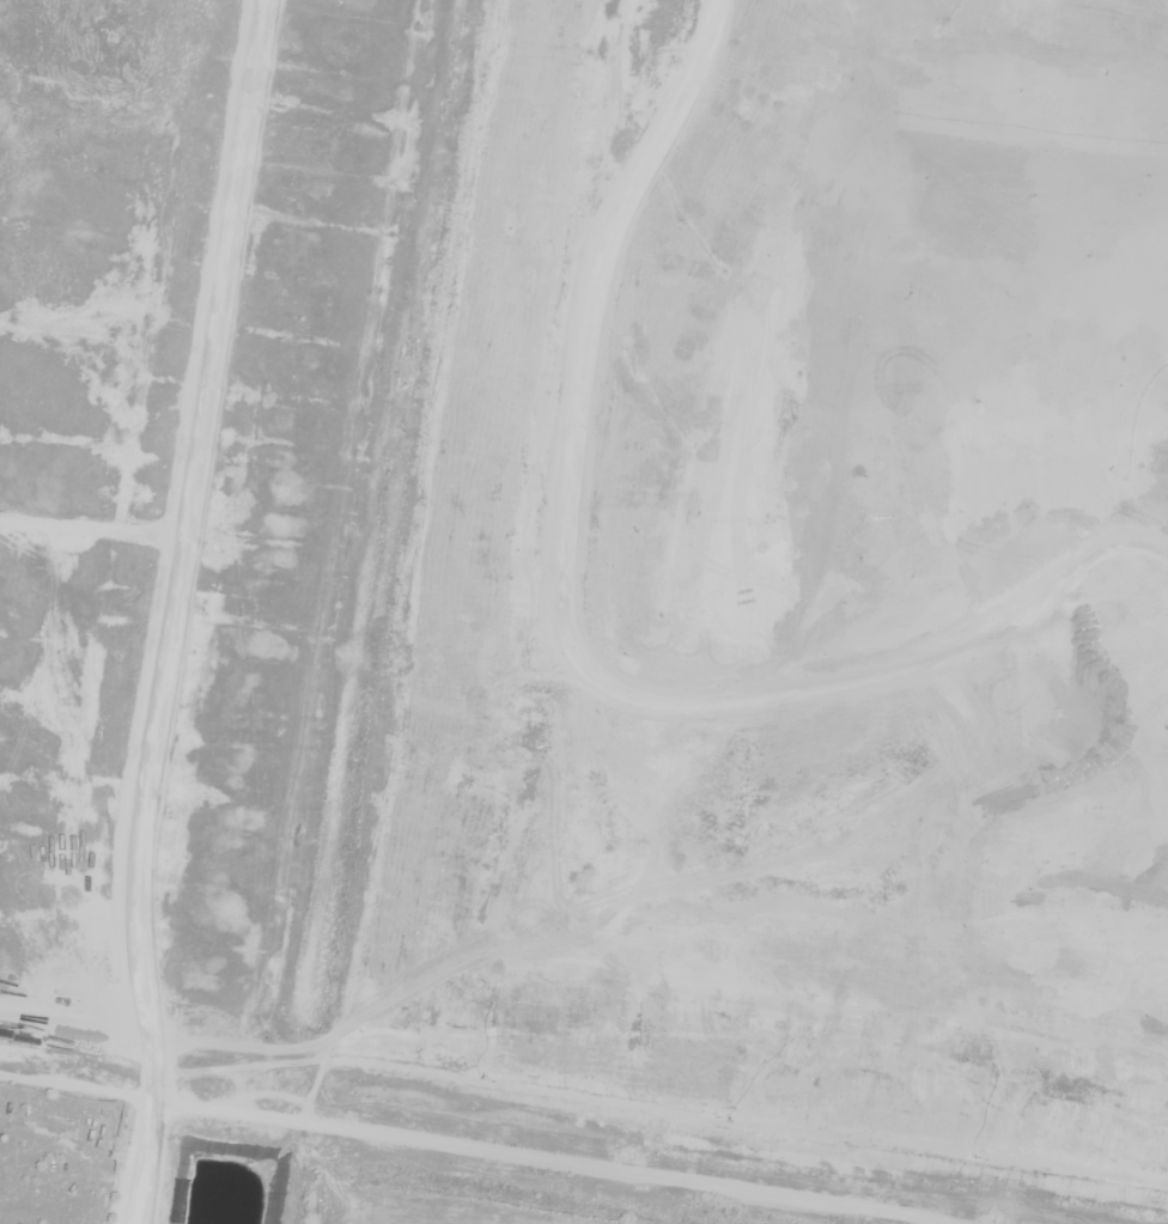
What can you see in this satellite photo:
road: (607, 249)
road: (174, 610)

